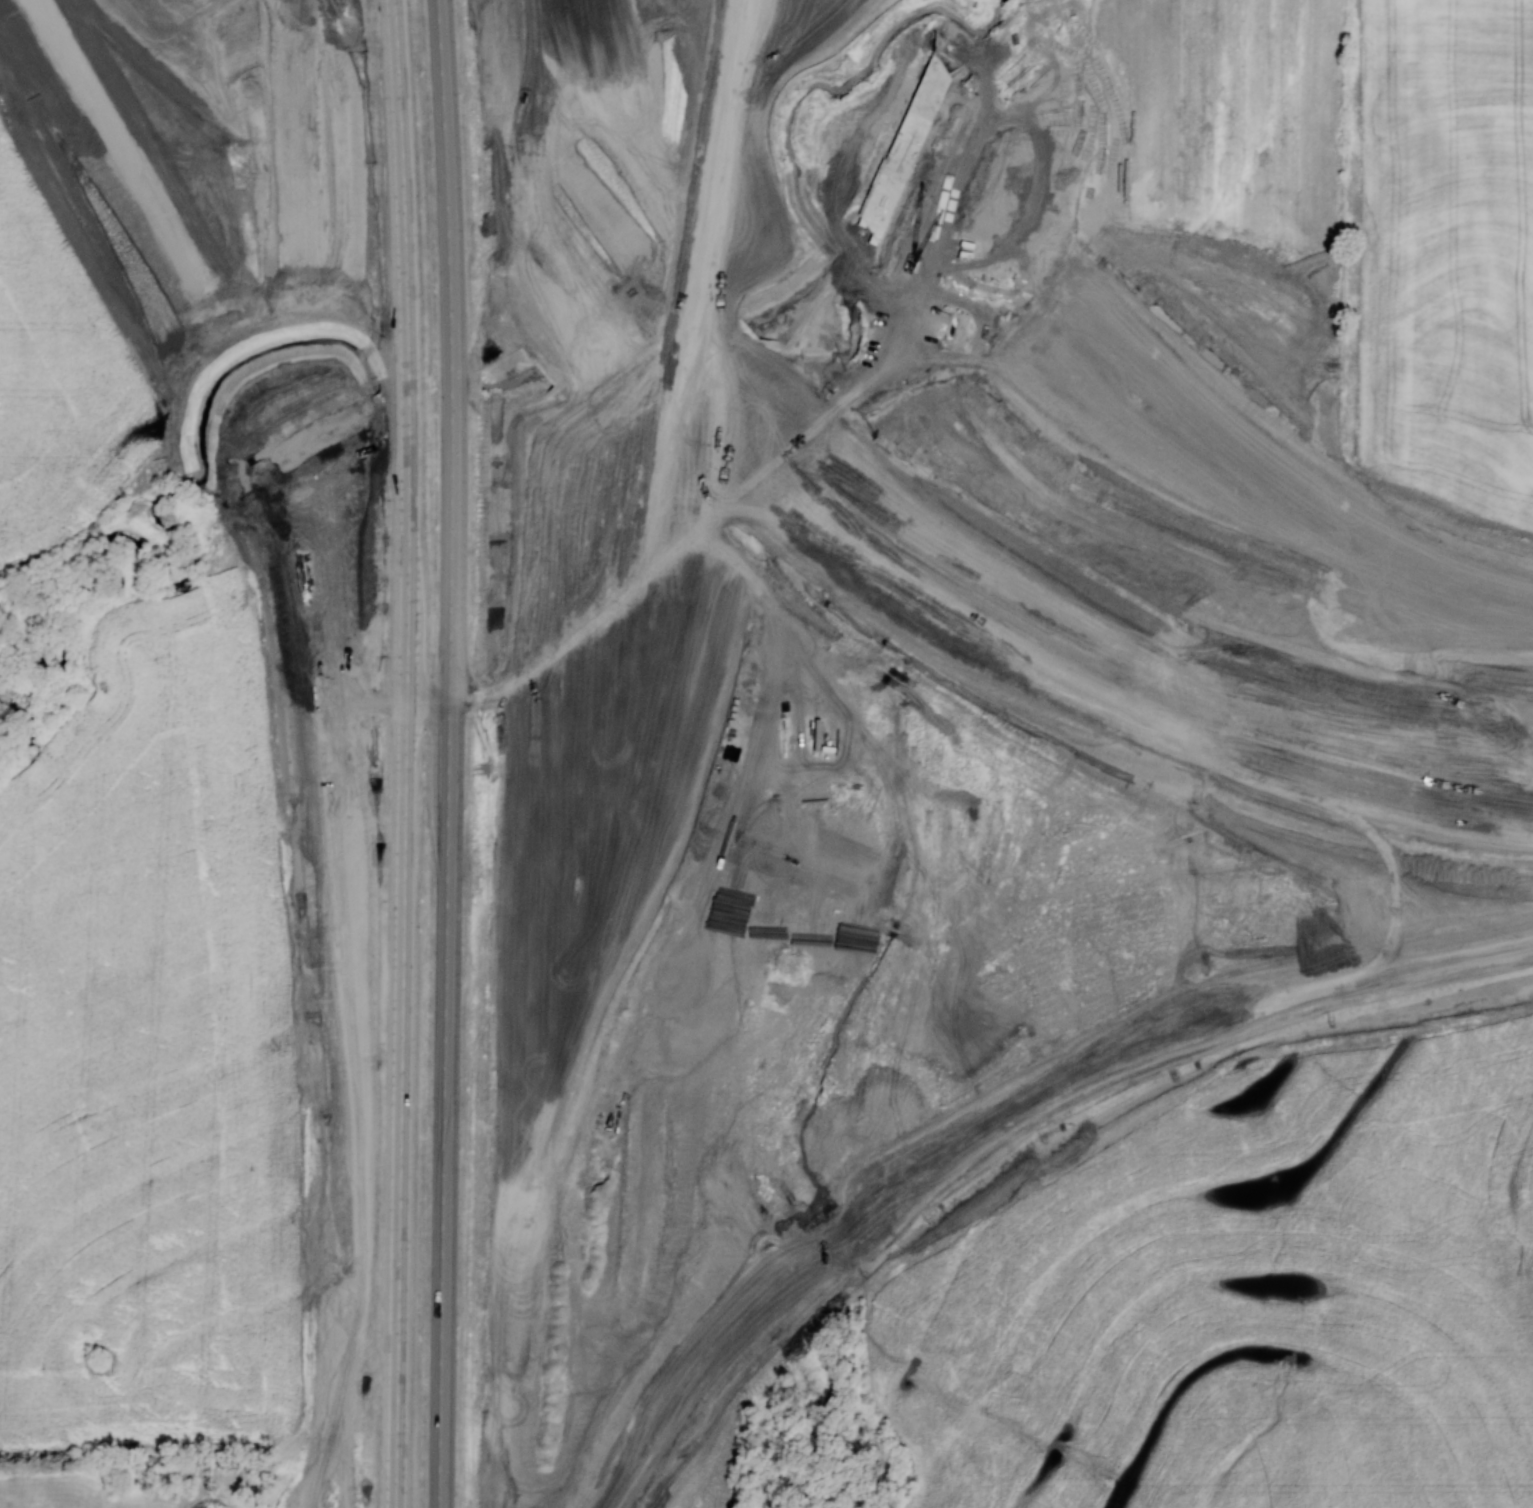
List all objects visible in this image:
building: (730, 25)
road: (585, 69)
road: (731, 130)
road: (604, 263)
road: (210, 296)
road: (688, 363)
crop: (57, 376)
road: (622, 564)
road: (645, 604)
crop: (150, 1052)
road: (371, 1063)
road: (541, 1124)

